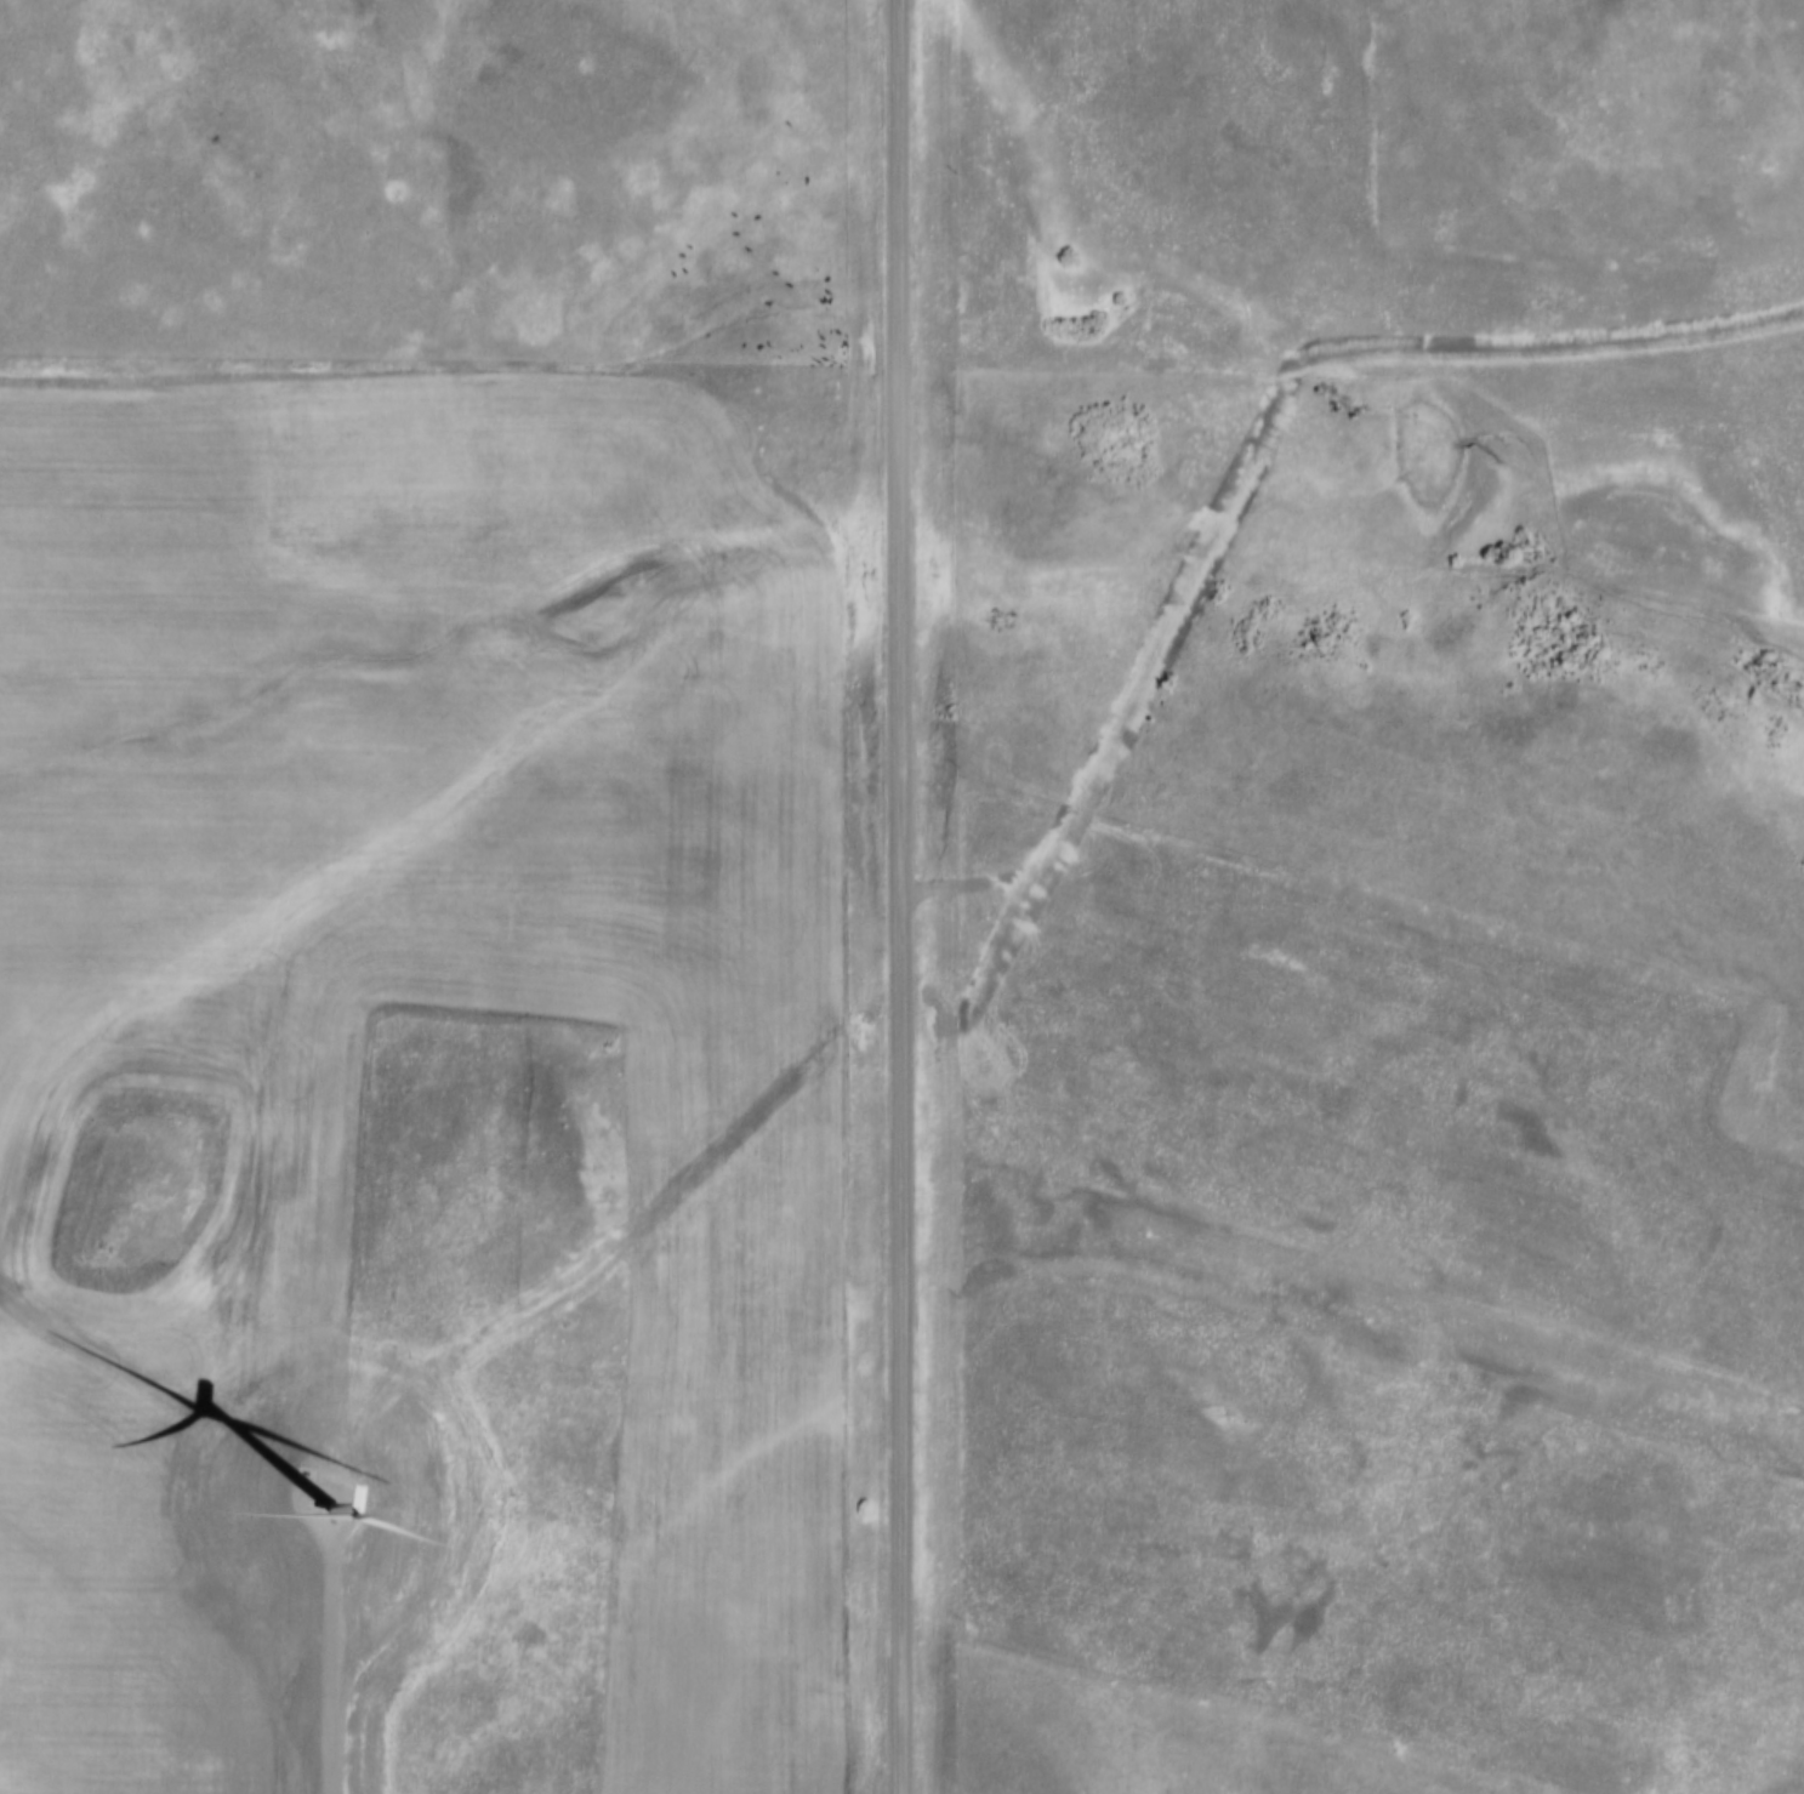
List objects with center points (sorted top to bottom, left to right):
road: (903, 896)
road: (575, 1223)
wind turbine: (332, 1499)
road: (256, 1527)

